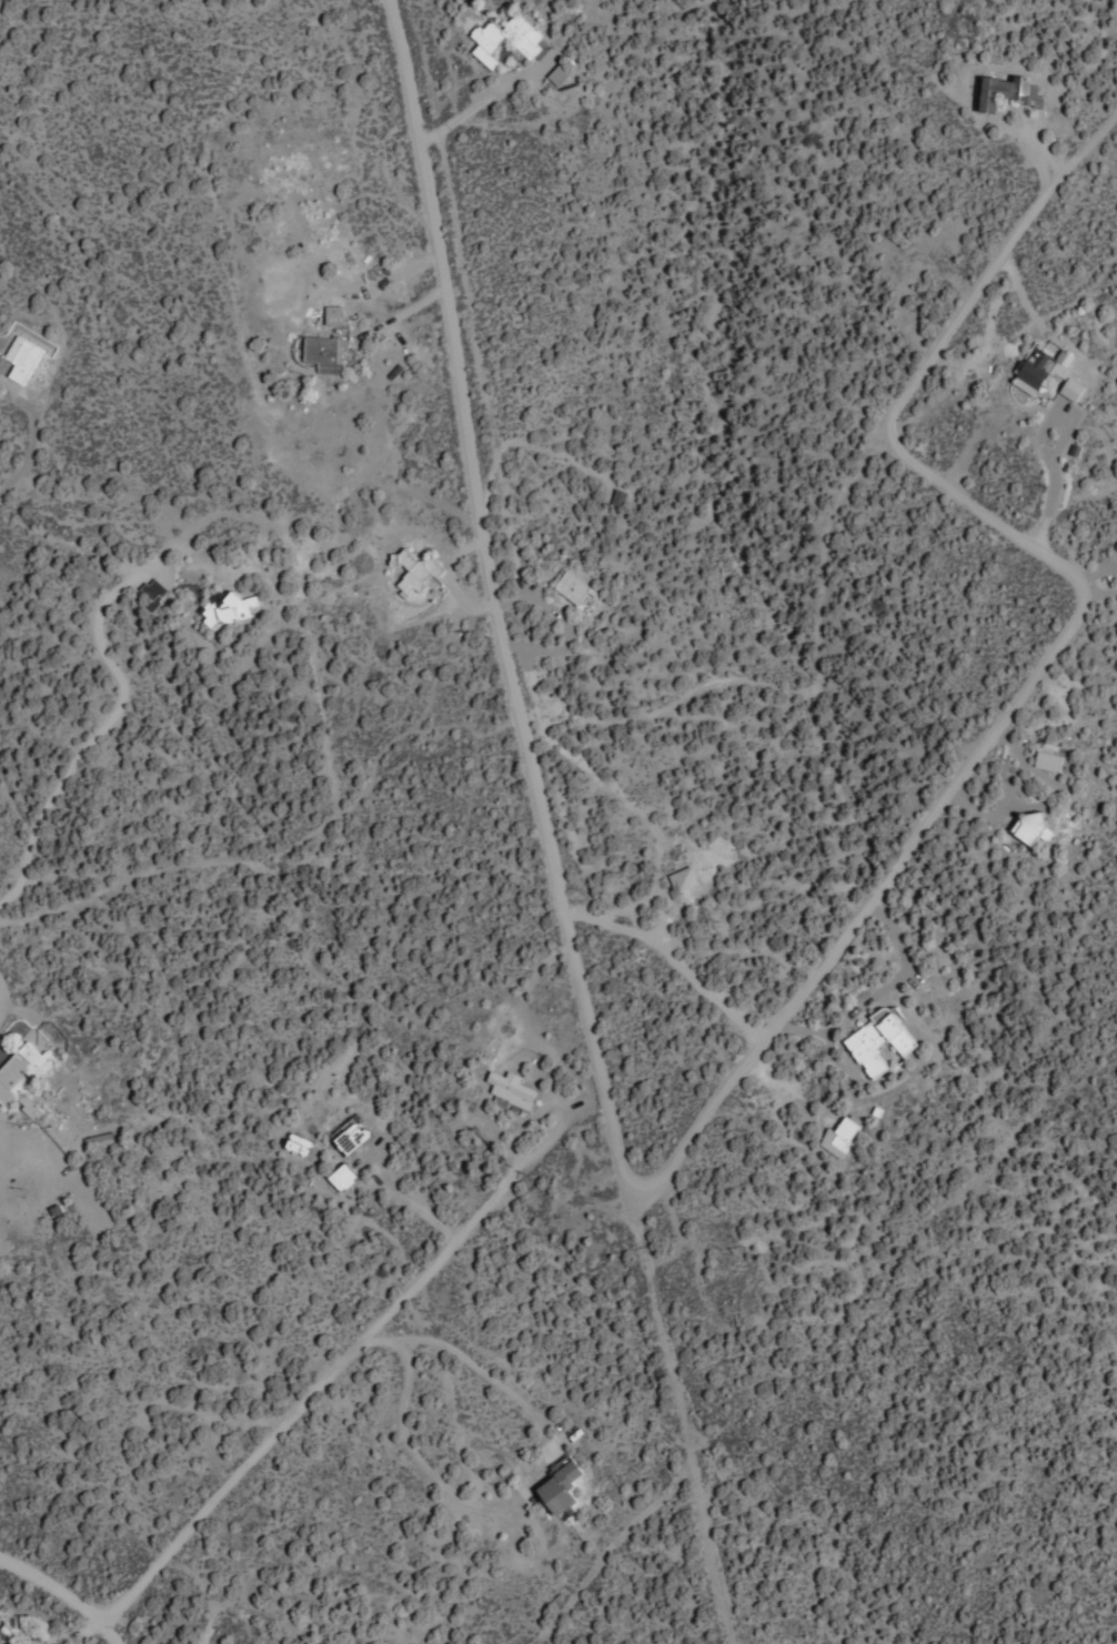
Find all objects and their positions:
building: (506, 39)
building: (556, 73)
building: (1005, 91)
building: (332, 313)
building: (323, 353)
building: (21, 357)
building: (1041, 367)
building: (1070, 387)
road: (465, 403)
building: (413, 571)
building: (570, 586)
building: (227, 607)
road: (1059, 637)
building: (1047, 759)
road: (269, 815)
building: (1030, 825)
building: (682, 881)
road: (572, 965)
building: (876, 1041)
building: (22, 1077)
building: (510, 1088)
building: (841, 1133)
building: (351, 1134)
building: (296, 1143)
building: (341, 1176)
road: (647, 1291)
road: (329, 1373)
building: (557, 1487)
road: (696, 1493)
road: (607, 1550)
road: (718, 1584)
road: (47, 1586)
building: (20, 1624)
road: (100, 1632)

